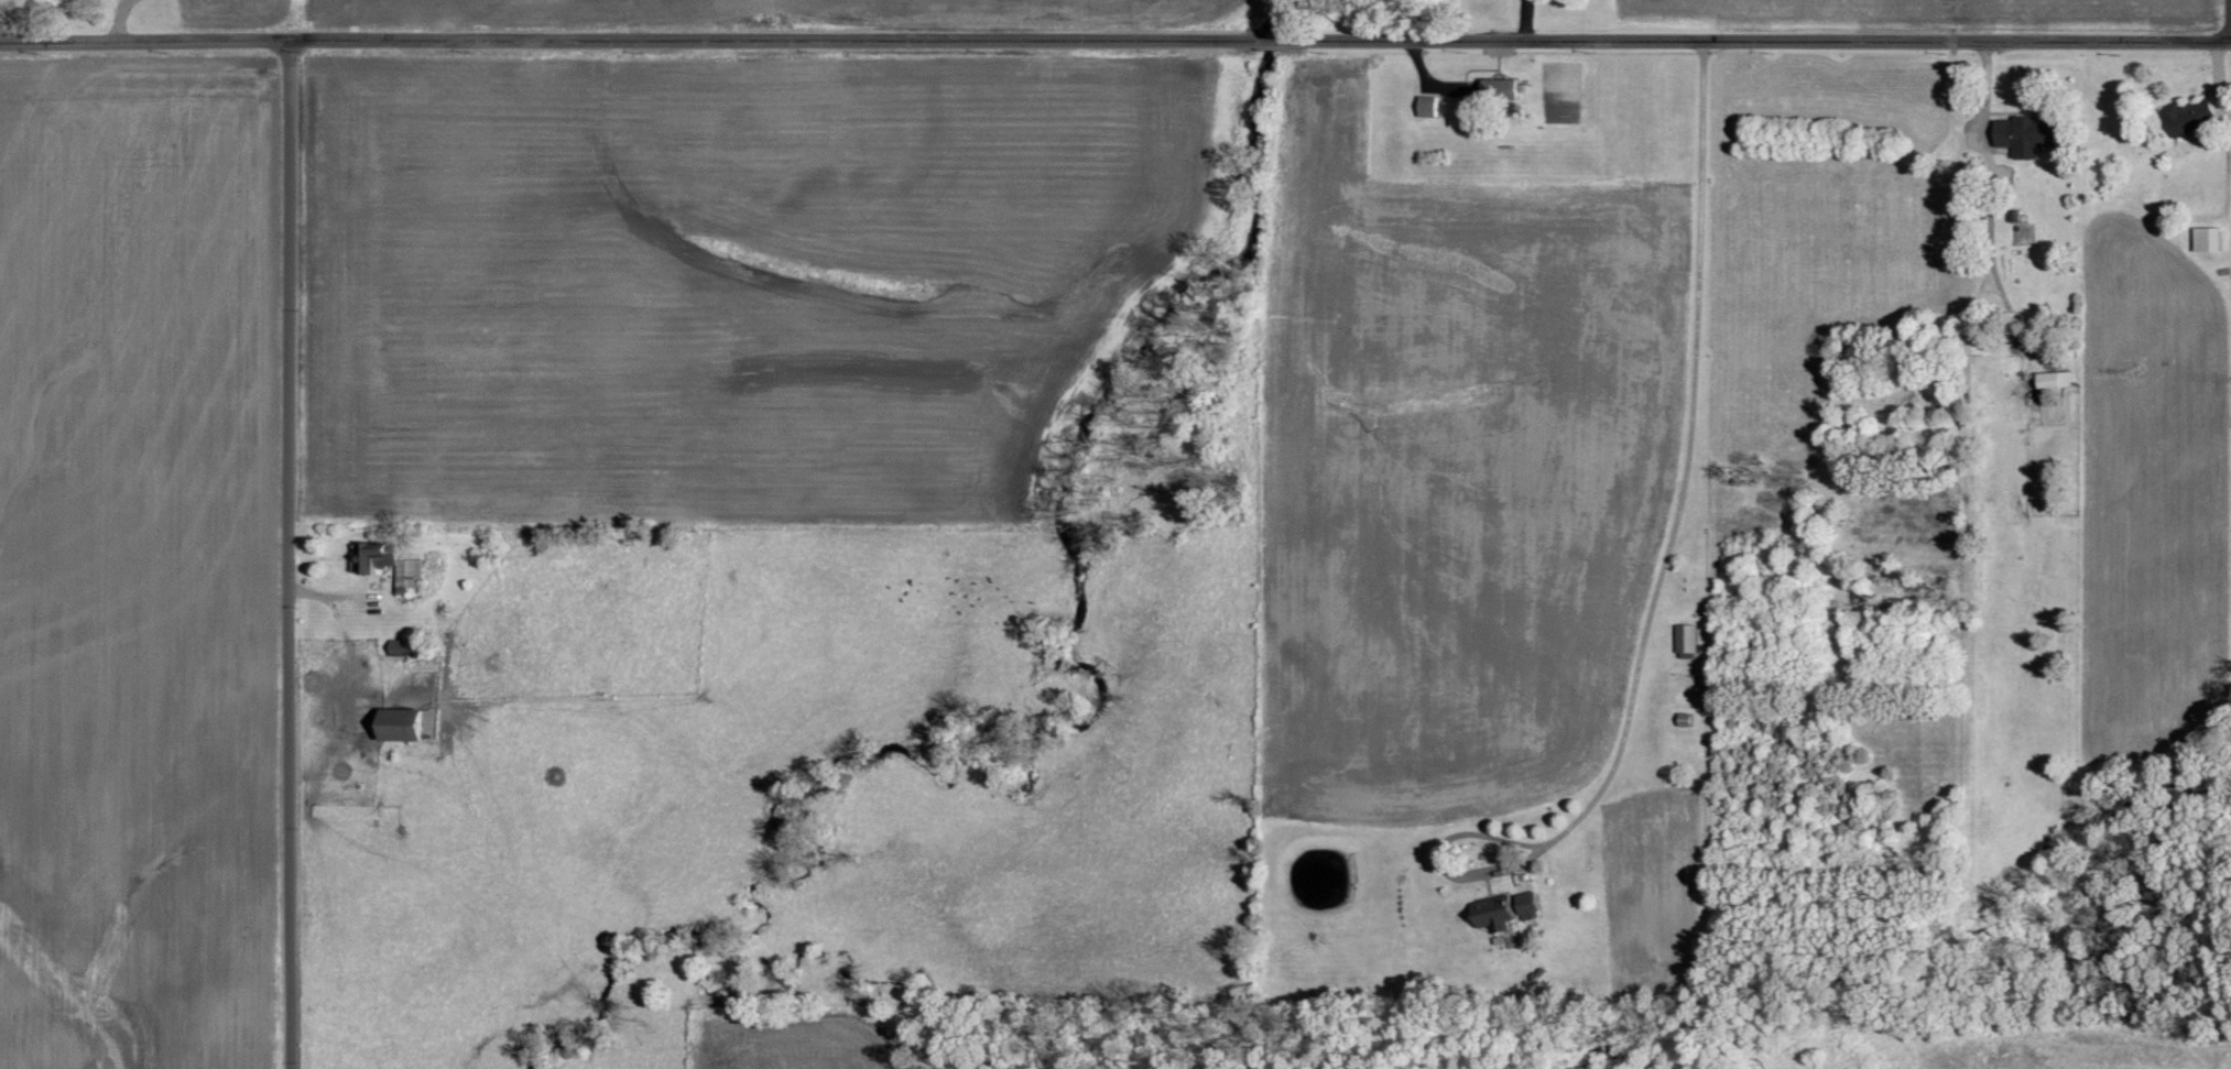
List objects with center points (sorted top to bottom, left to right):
road: (1759, 40)
road: (627, 42)
road: (1272, 42)
building: (1499, 87)
building: (1425, 106)
building: (2185, 117)
building: (2021, 135)
building: (2206, 239)
building: (2053, 380)
road: (290, 555)
building: (389, 565)
building: (1685, 639)
building: (396, 728)
building: (1528, 910)
building: (1493, 914)

